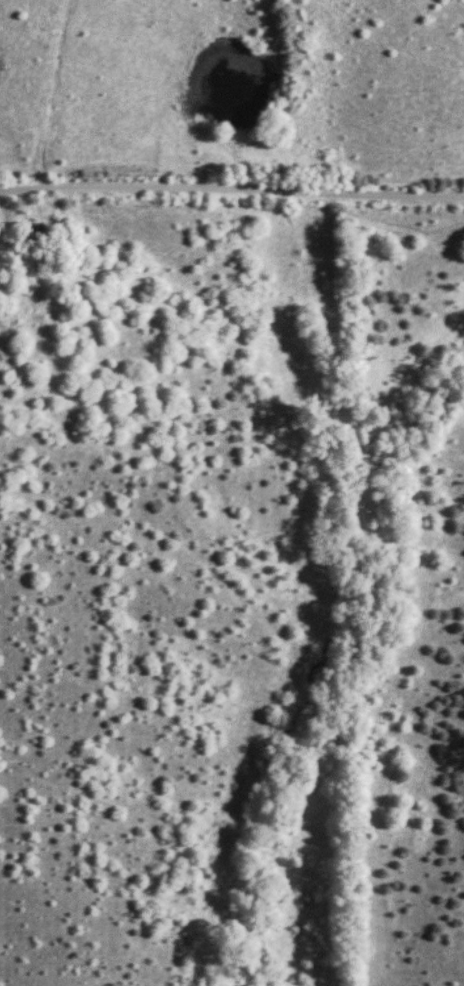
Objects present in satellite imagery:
road: (290, 97)
road: (232, 187)

